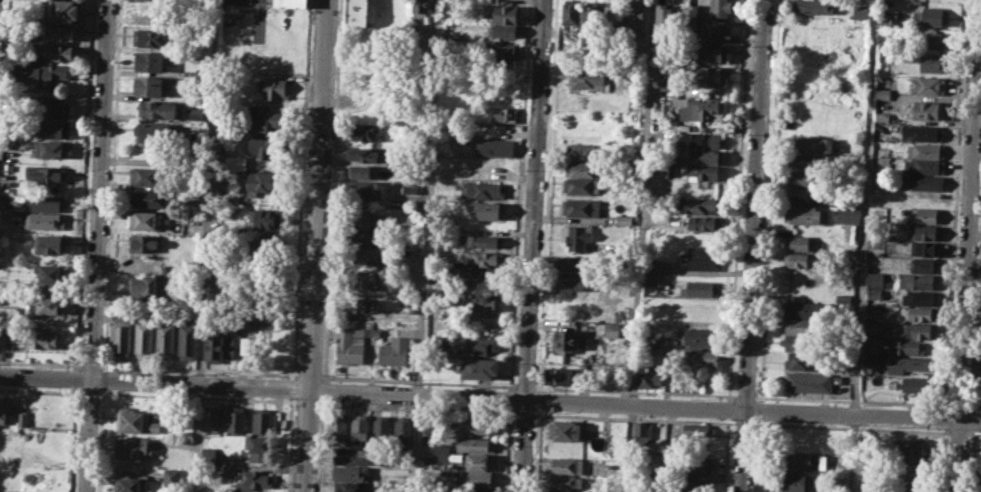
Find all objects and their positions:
road: (0, 3)
building: (290, 3)
building: (399, 5)
building: (812, 6)
building: (720, 8)
building: (419, 9)
building: (64, 11)
building: (860, 11)
building: (152, 12)
building: (358, 12)
building: (506, 13)
building: (571, 13)
building: (635, 15)
building: (593, 16)
building: (935, 16)
building: (612, 17)
building: (663, 17)
building: (886, 19)
building: (690, 20)
building: (719, 30)
building: (61, 32)
building: (505, 32)
building: (149, 37)
building: (932, 40)
building: (882, 44)
building: (505, 50)
building: (59, 51)
building: (711, 54)
building: (149, 61)
building: (932, 63)
building: (200, 73)
building: (38, 75)
building: (711, 76)
building: (586, 79)
building: (148, 86)
building: (926, 86)
building: (275, 87)
building: (53, 107)
building: (157, 109)
building: (701, 109)
building: (928, 109)
building: (195, 113)
building: (504, 114)
building: (268, 118)
building: (55, 129)
building: (493, 130)
building: (365, 131)
building: (925, 131)
building: (156, 134)
building: (698, 140)
building: (812, 143)
building: (267, 147)
building: (493, 147)
building: (635, 148)
building: (50, 149)
building: (925, 150)
building: (584, 151)
building: (883, 151)
building: (361, 154)
building: (706, 157)
building: (802, 160)
building: (235, 163)
building: (924, 166)
building: (584, 168)
building: (361, 171)
building: (703, 173)
building: (45, 174)
building: (150, 175)
building: (800, 177)
building: (264, 181)
building: (925, 182)
building: (582, 186)
building: (410, 188)
building: (365, 189)
building: (483, 189)
road: (301, 190)
road: (206, 191)
building: (802, 195)
building: (148, 197)
road: (737, 197)
road: (769, 200)
building: (45, 202)
building: (698, 205)
building: (583, 207)
building: (488, 210)
building: (801, 214)
building: (848, 214)
building: (926, 215)
building: (264, 218)
building: (624, 219)
building: (143, 220)
building: (45, 221)
building: (361, 221)
building: (701, 223)
building: (924, 231)
building: (576, 236)
building: (363, 237)
building: (479, 242)
building: (144, 243)
building: (801, 243)
building: (50, 245)
road: (94, 245)
road: (638, 245)
road: (967, 245)
building: (259, 246)
road: (316, 246)
road: (425, 246)
road: (531, 246)
road: (752, 246)
road: (861, 246)
building: (925, 248)
building: (363, 254)
building: (701, 258)
building: (479, 259)
building: (797, 260)
building: (573, 262)
building: (924, 265)
building: (656, 267)
building: (52, 273)
building: (479, 277)
building: (371, 278)
building: (875, 278)
building: (570, 281)
building: (918, 281)
building: (150, 285)
building: (31, 287)
building: (699, 288)
building: (221, 293)
building: (874, 293)
building: (920, 297)
building: (2, 298)
building: (844, 299)
building: (482, 301)
building: (361, 304)
building: (44, 305)
building: (700, 306)
building: (407, 309)
building: (802, 310)
building: (8, 314)
building: (923, 314)
building: (264, 317)
building: (796, 326)
building: (872, 327)
building: (915, 330)
building: (122, 331)
building: (701, 335)
building: (43, 337)
building: (187, 337)
building: (144, 338)
building: (571, 338)
building: (165, 340)
building: (799, 343)
building: (480, 344)
building: (646, 344)
building: (873, 344)
building: (220, 345)
building: (349, 345)
building: (906, 347)
building: (394, 350)
building: (700, 357)
building: (800, 361)
road: (40, 363)
building: (895, 363)
road: (89, 365)
building: (478, 367)
road: (193, 369)
road: (294, 373)
road: (307, 375)
building: (559, 375)
building: (650, 376)
road: (417, 380)
building: (811, 381)
building: (921, 384)
road: (524, 386)
road: (290, 387)
road: (40, 389)
road: (633, 391)
road: (88, 392)
road: (197, 395)
road: (490, 395)
road: (743, 395)
road: (851, 400)
road: (308, 402)
road: (958, 405)
building: (4, 406)
road: (974, 406)
road: (416, 408)
road: (759, 410)
road: (523, 413)
building: (211, 417)
building: (21, 418)
building: (236, 418)
road: (633, 418)
building: (137, 420)
building: (262, 421)
road: (745, 422)
building: (474, 424)
building: (337, 426)
building: (381, 427)
road: (851, 427)
building: (402, 428)
building: (359, 429)
building: (564, 430)
building: (431, 431)
building: (643, 432)
building: (690, 432)
road: (953, 432)
road: (196, 437)
building: (806, 439)
road: (290, 444)
building: (474, 444)
building: (131, 447)
building: (258, 449)
building: (909, 449)
building: (441, 451)
building: (207, 454)
road: (757, 455)
building: (352, 456)
road: (725, 457)
building: (805, 460)
building: (479, 461)
building: (565, 465)
building: (697, 466)
building: (349, 472)
building: (170, 477)
building: (255, 478)
building: (473, 478)
building: (911, 479)
building: (564, 481)
building: (867, 481)
building: (837, 482)
building: (796, 483)
building: (128, 484)
building: (352, 486)
building: (694, 486)
building: (476, 489)
building: (557, 491)

